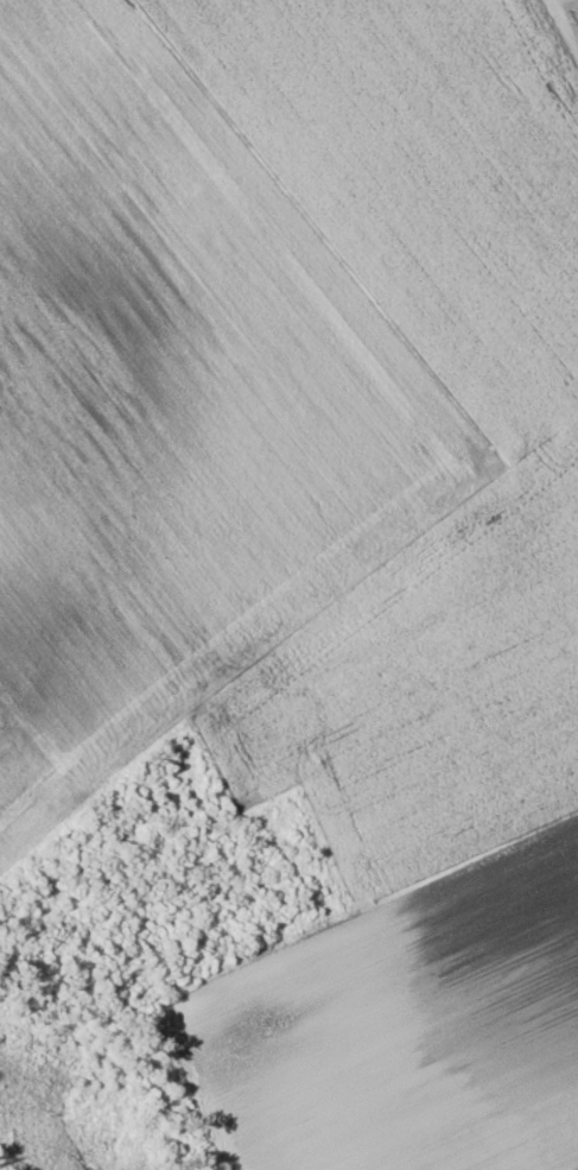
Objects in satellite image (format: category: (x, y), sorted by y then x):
road: (558, 1)
road: (566, 21)

